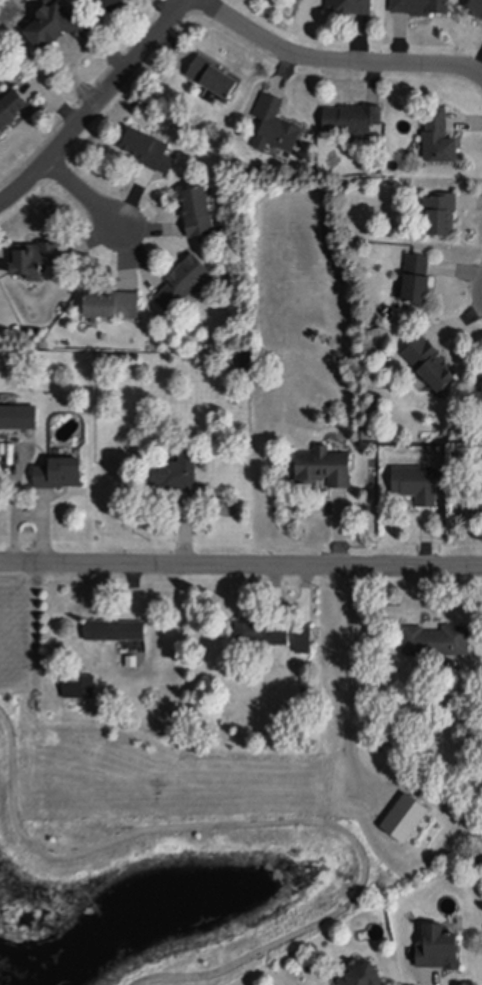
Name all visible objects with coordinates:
building: (110, 5)
building: (350, 7)
building: (421, 8)
building: (477, 9)
building: (57, 27)
road: (75, 53)
road: (334, 59)
building: (213, 81)
road: (97, 104)
building: (11, 111)
building: (352, 120)
building: (275, 127)
building: (439, 140)
building: (149, 153)
road: (85, 194)
building: (198, 214)
building: (441, 216)
building: (33, 261)
building: (417, 282)
building: (183, 284)
building: (112, 306)
building: (430, 367)
building: (480, 396)
building: (478, 404)
building: (19, 419)
building: (325, 471)
building: (174, 474)
building: (59, 476)
building: (417, 487)
building: (472, 501)
road: (241, 565)
building: (114, 632)
building: (260, 637)
building: (304, 642)
building: (437, 644)
building: (132, 662)
road: (352, 684)
building: (79, 687)
building: (406, 821)
road: (273, 823)
park: (194, 825)
building: (439, 941)
building: (362, 970)

